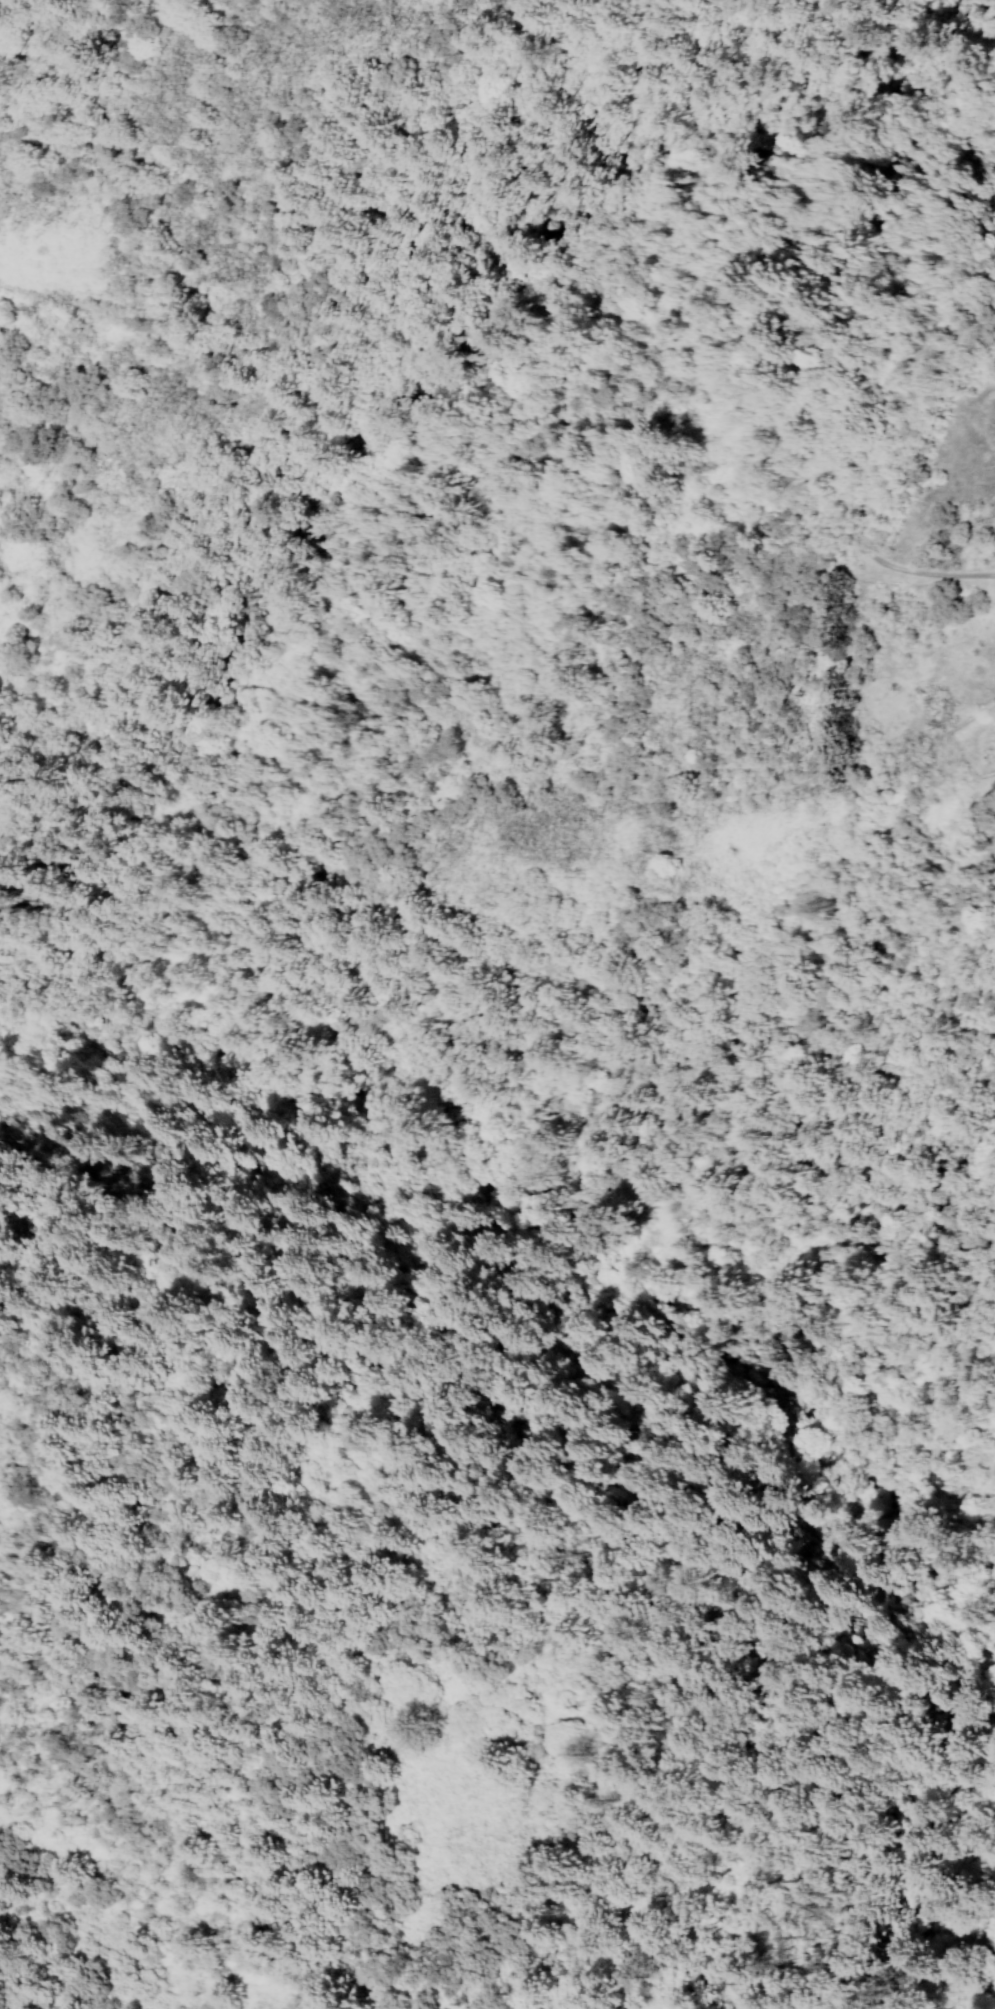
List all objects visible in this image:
road: (862, 480)
building: (991, 787)

